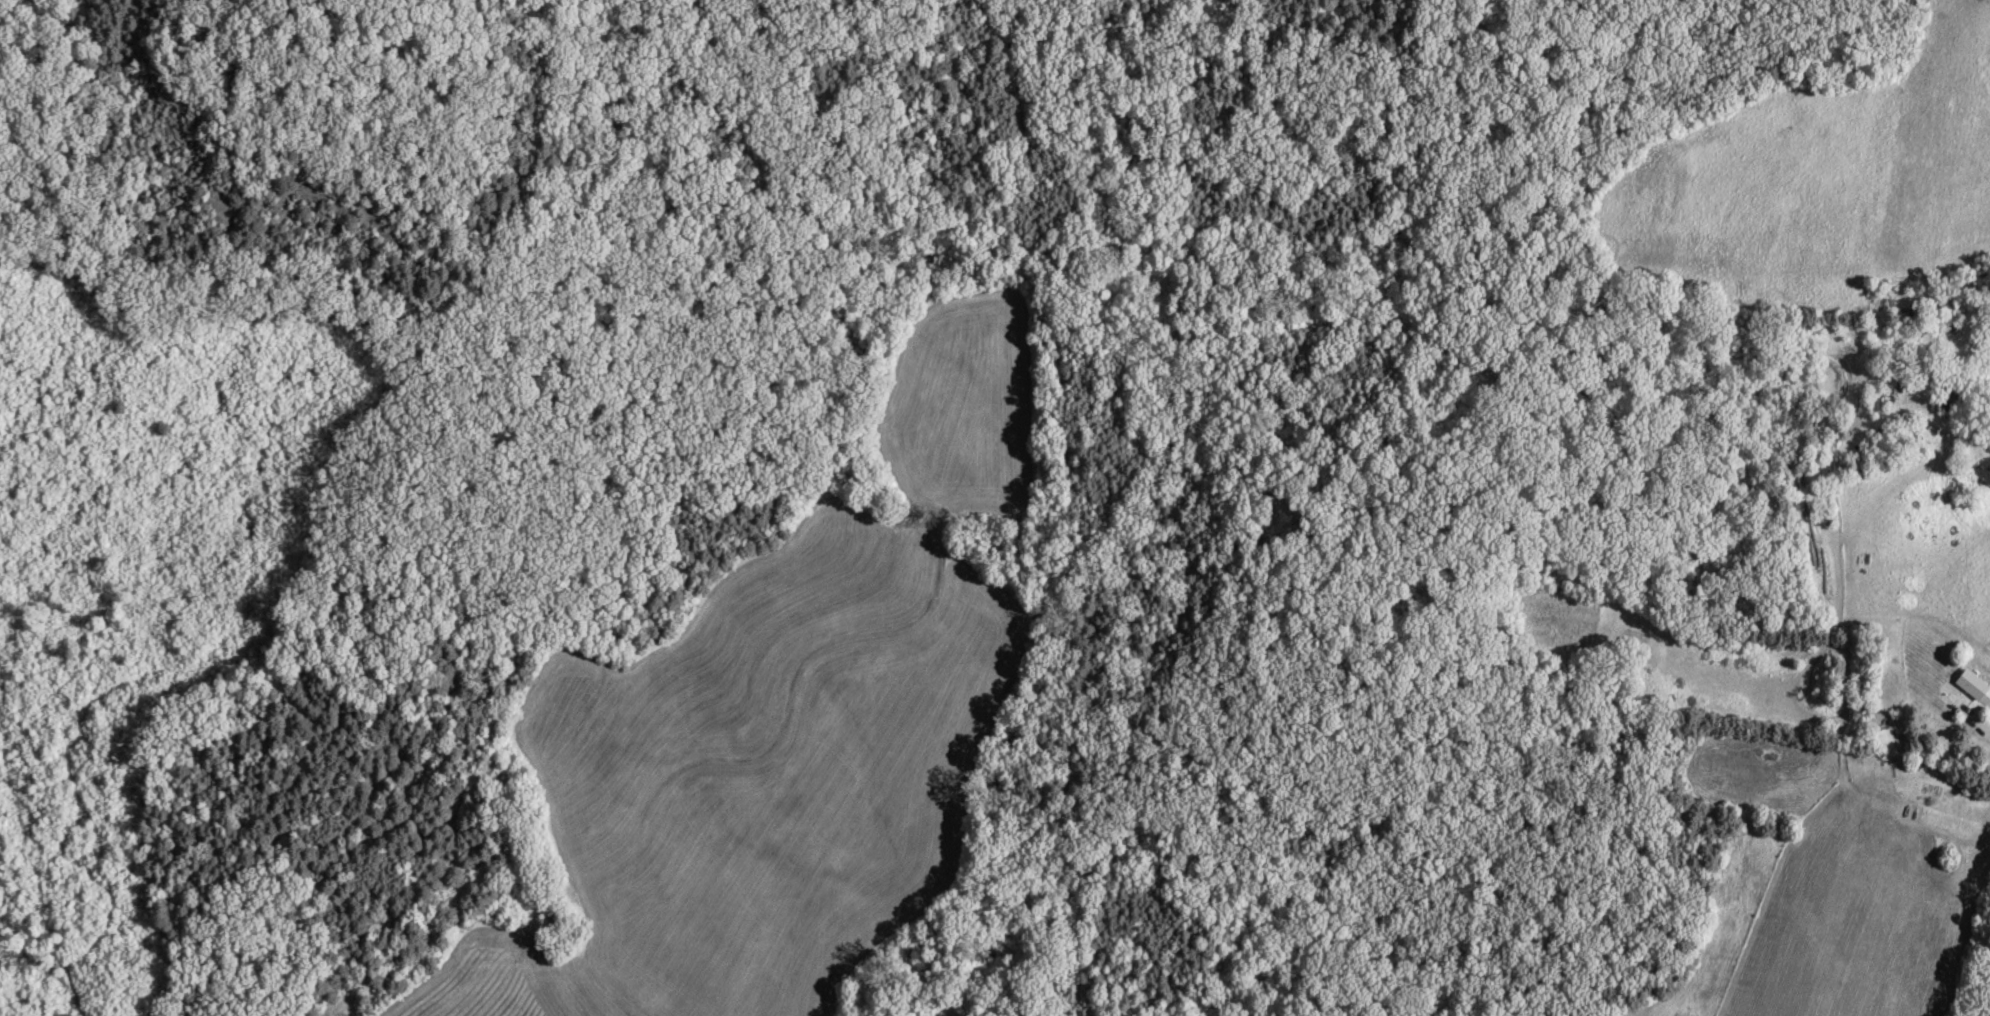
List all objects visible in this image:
building: (1946, 305)
building: (1951, 400)
road: (1950, 428)
building: (1973, 689)

